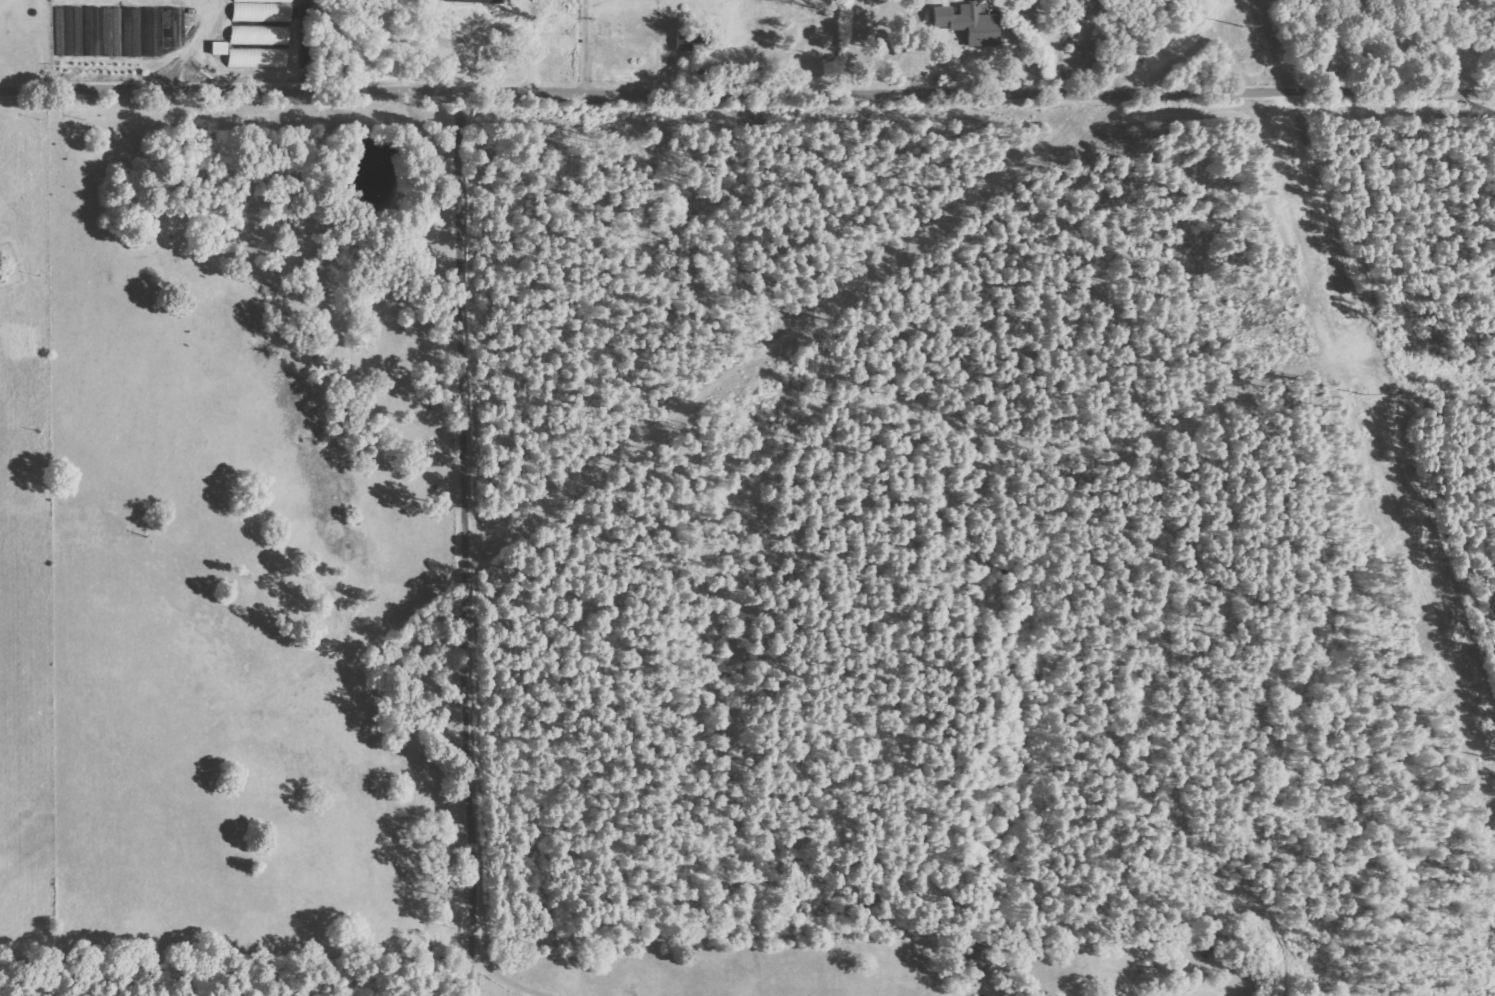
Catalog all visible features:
building: (475, 1)
building: (261, 10)
building: (1079, 13)
building: (967, 24)
building: (113, 30)
building: (690, 43)
building: (216, 48)
building: (256, 59)
road: (747, 93)
road: (457, 544)

